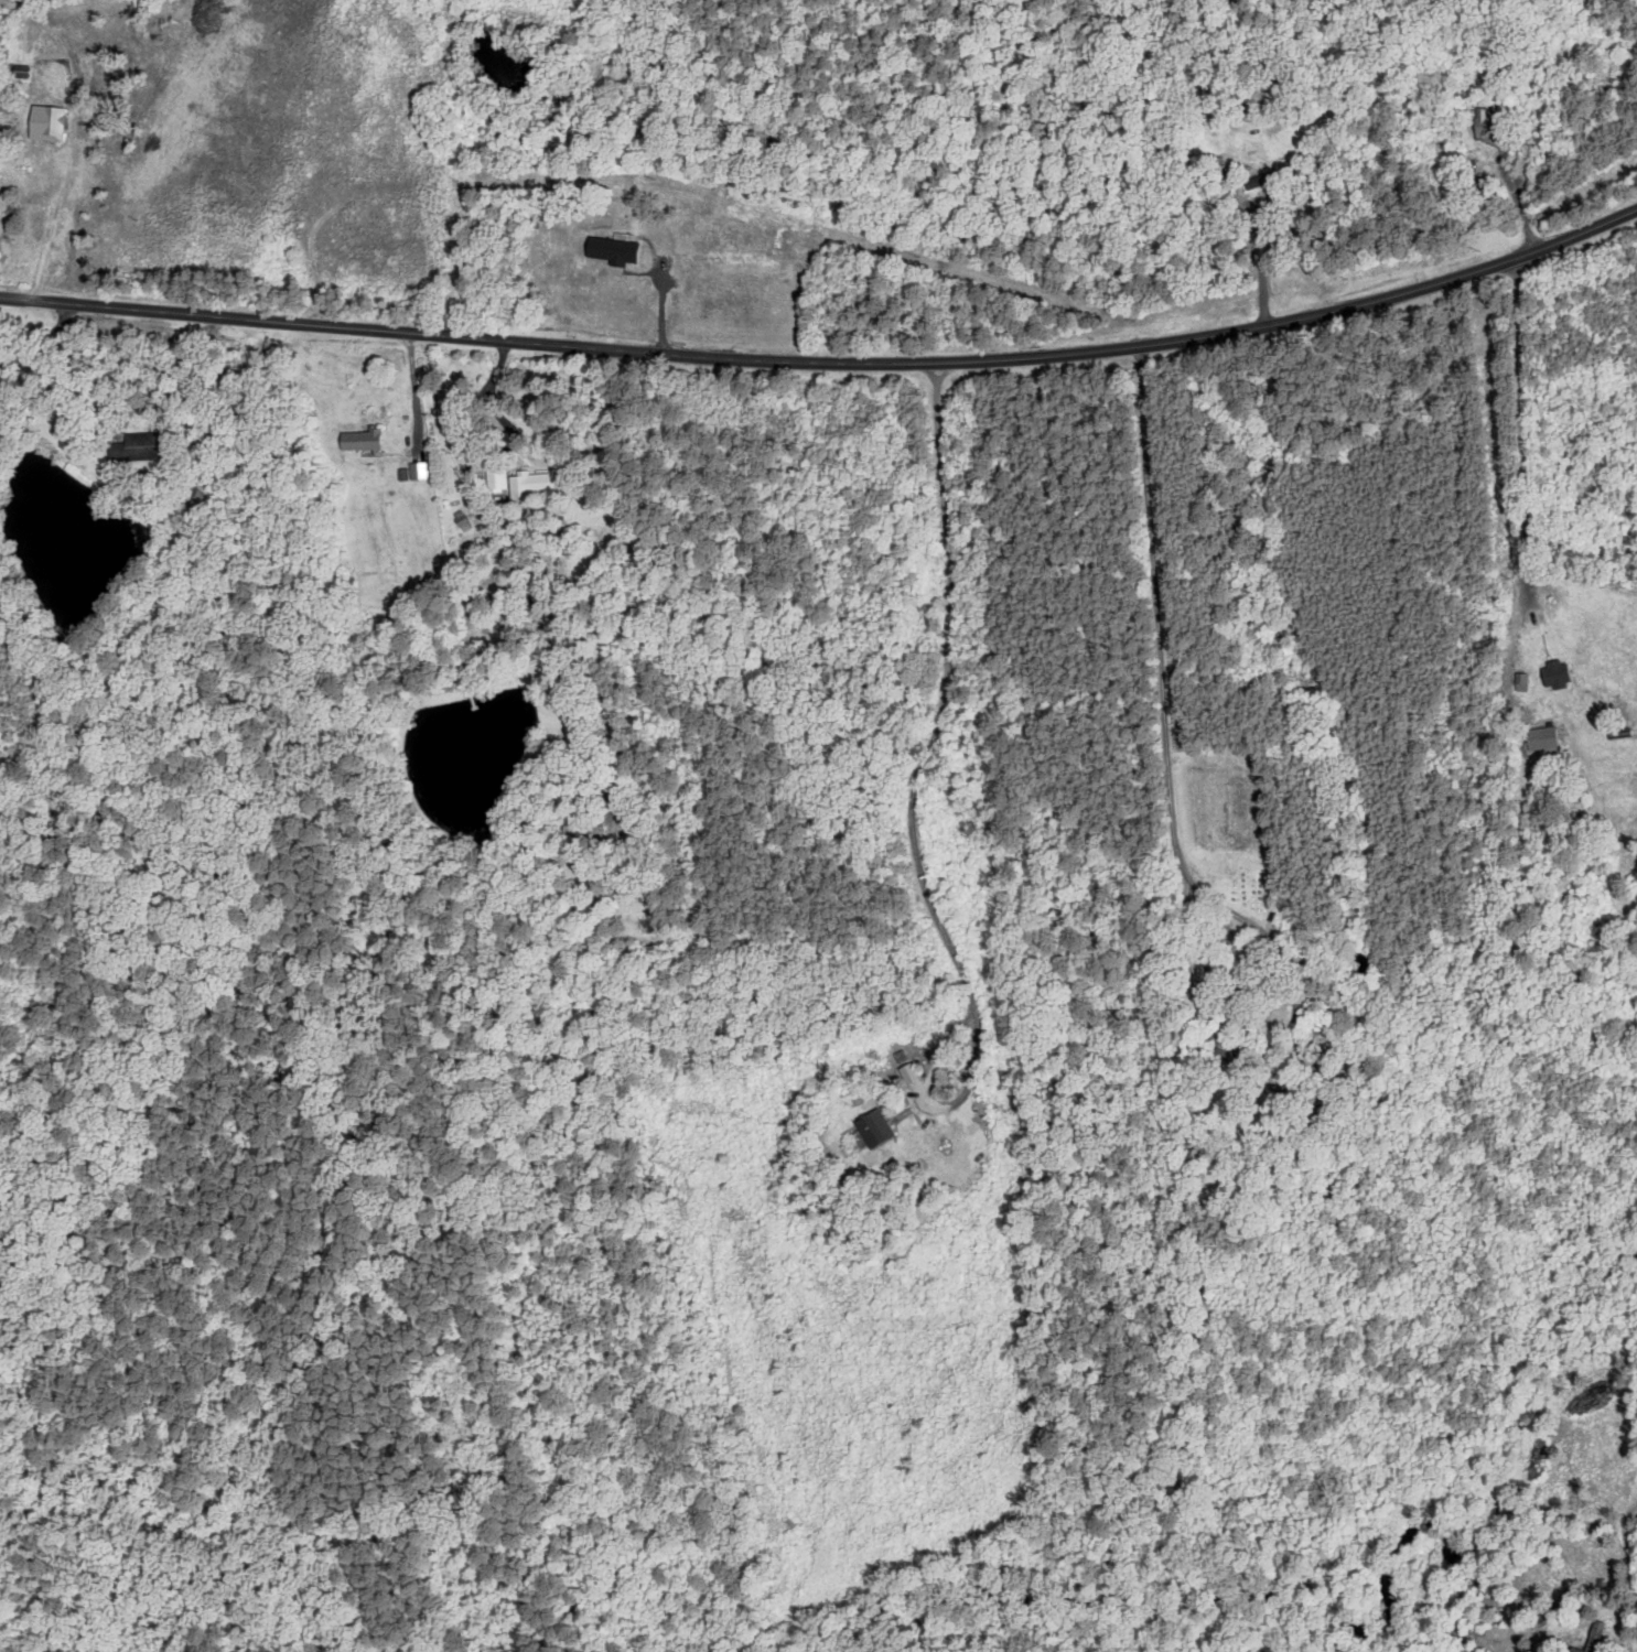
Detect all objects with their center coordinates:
building: (61, 123)
building: (621, 250)
road: (266, 316)
road: (1095, 360)
building: (368, 440)
building: (148, 446)
road: (469, 454)
building: (535, 483)
building: (466, 520)
building: (475, 554)
building: (1553, 674)
building: (1541, 739)
building: (906, 1072)
building: (871, 1127)
building: (1596, 1634)
building: (1577, 1650)

